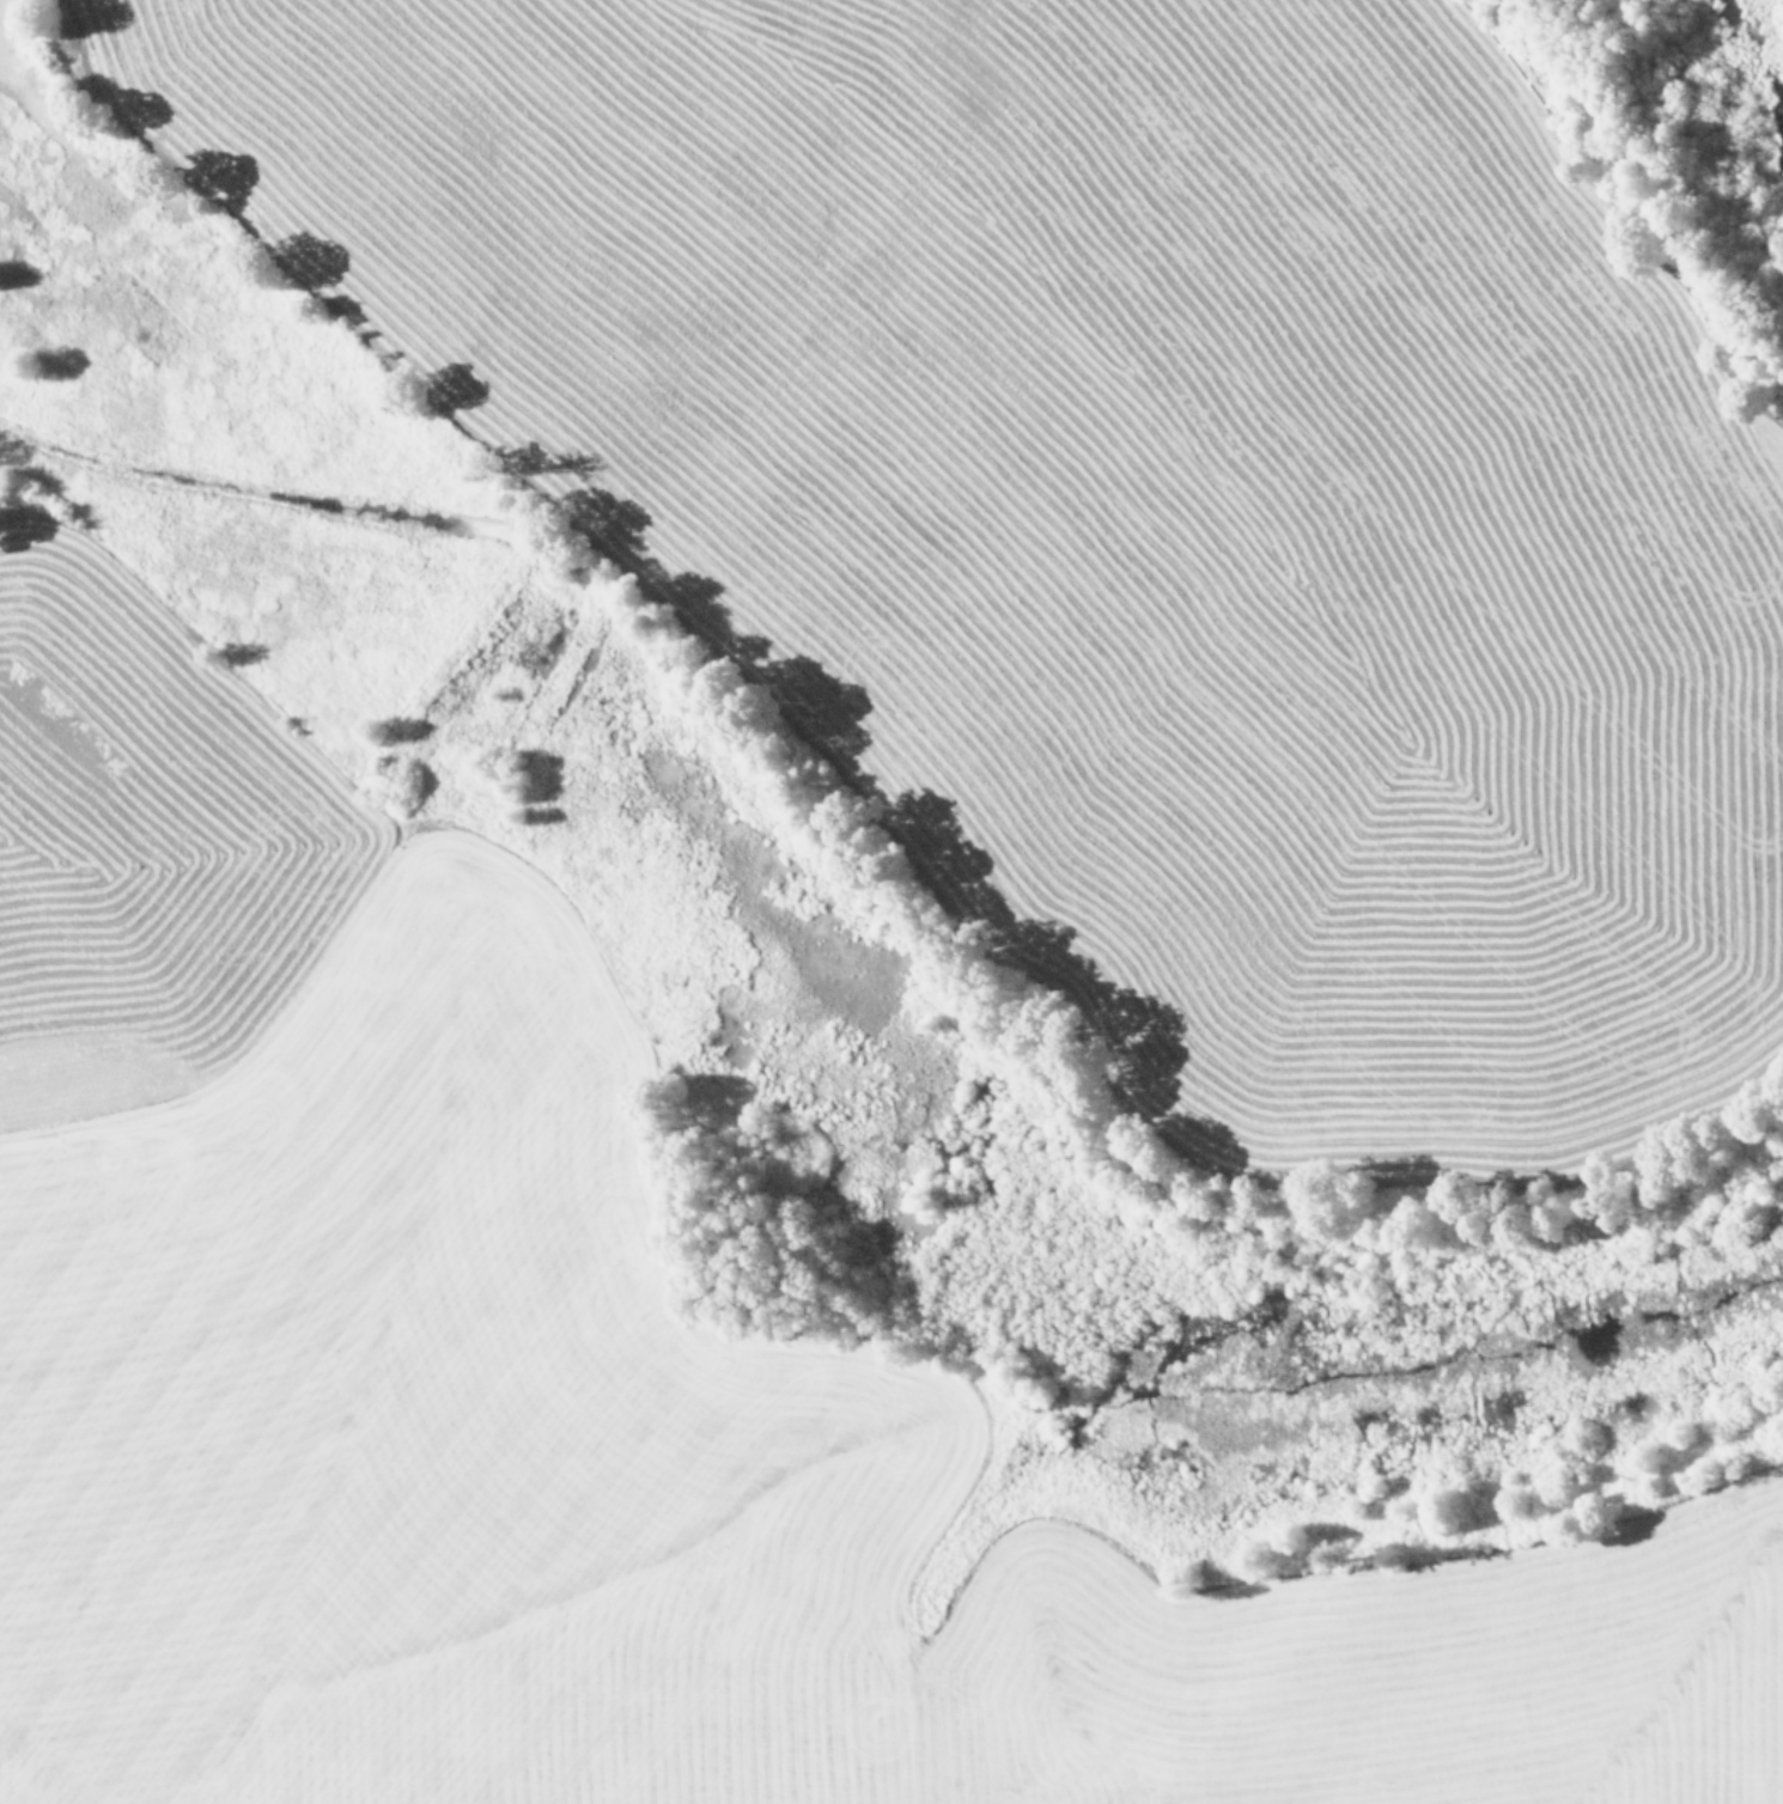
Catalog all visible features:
crop: (891, 902)

